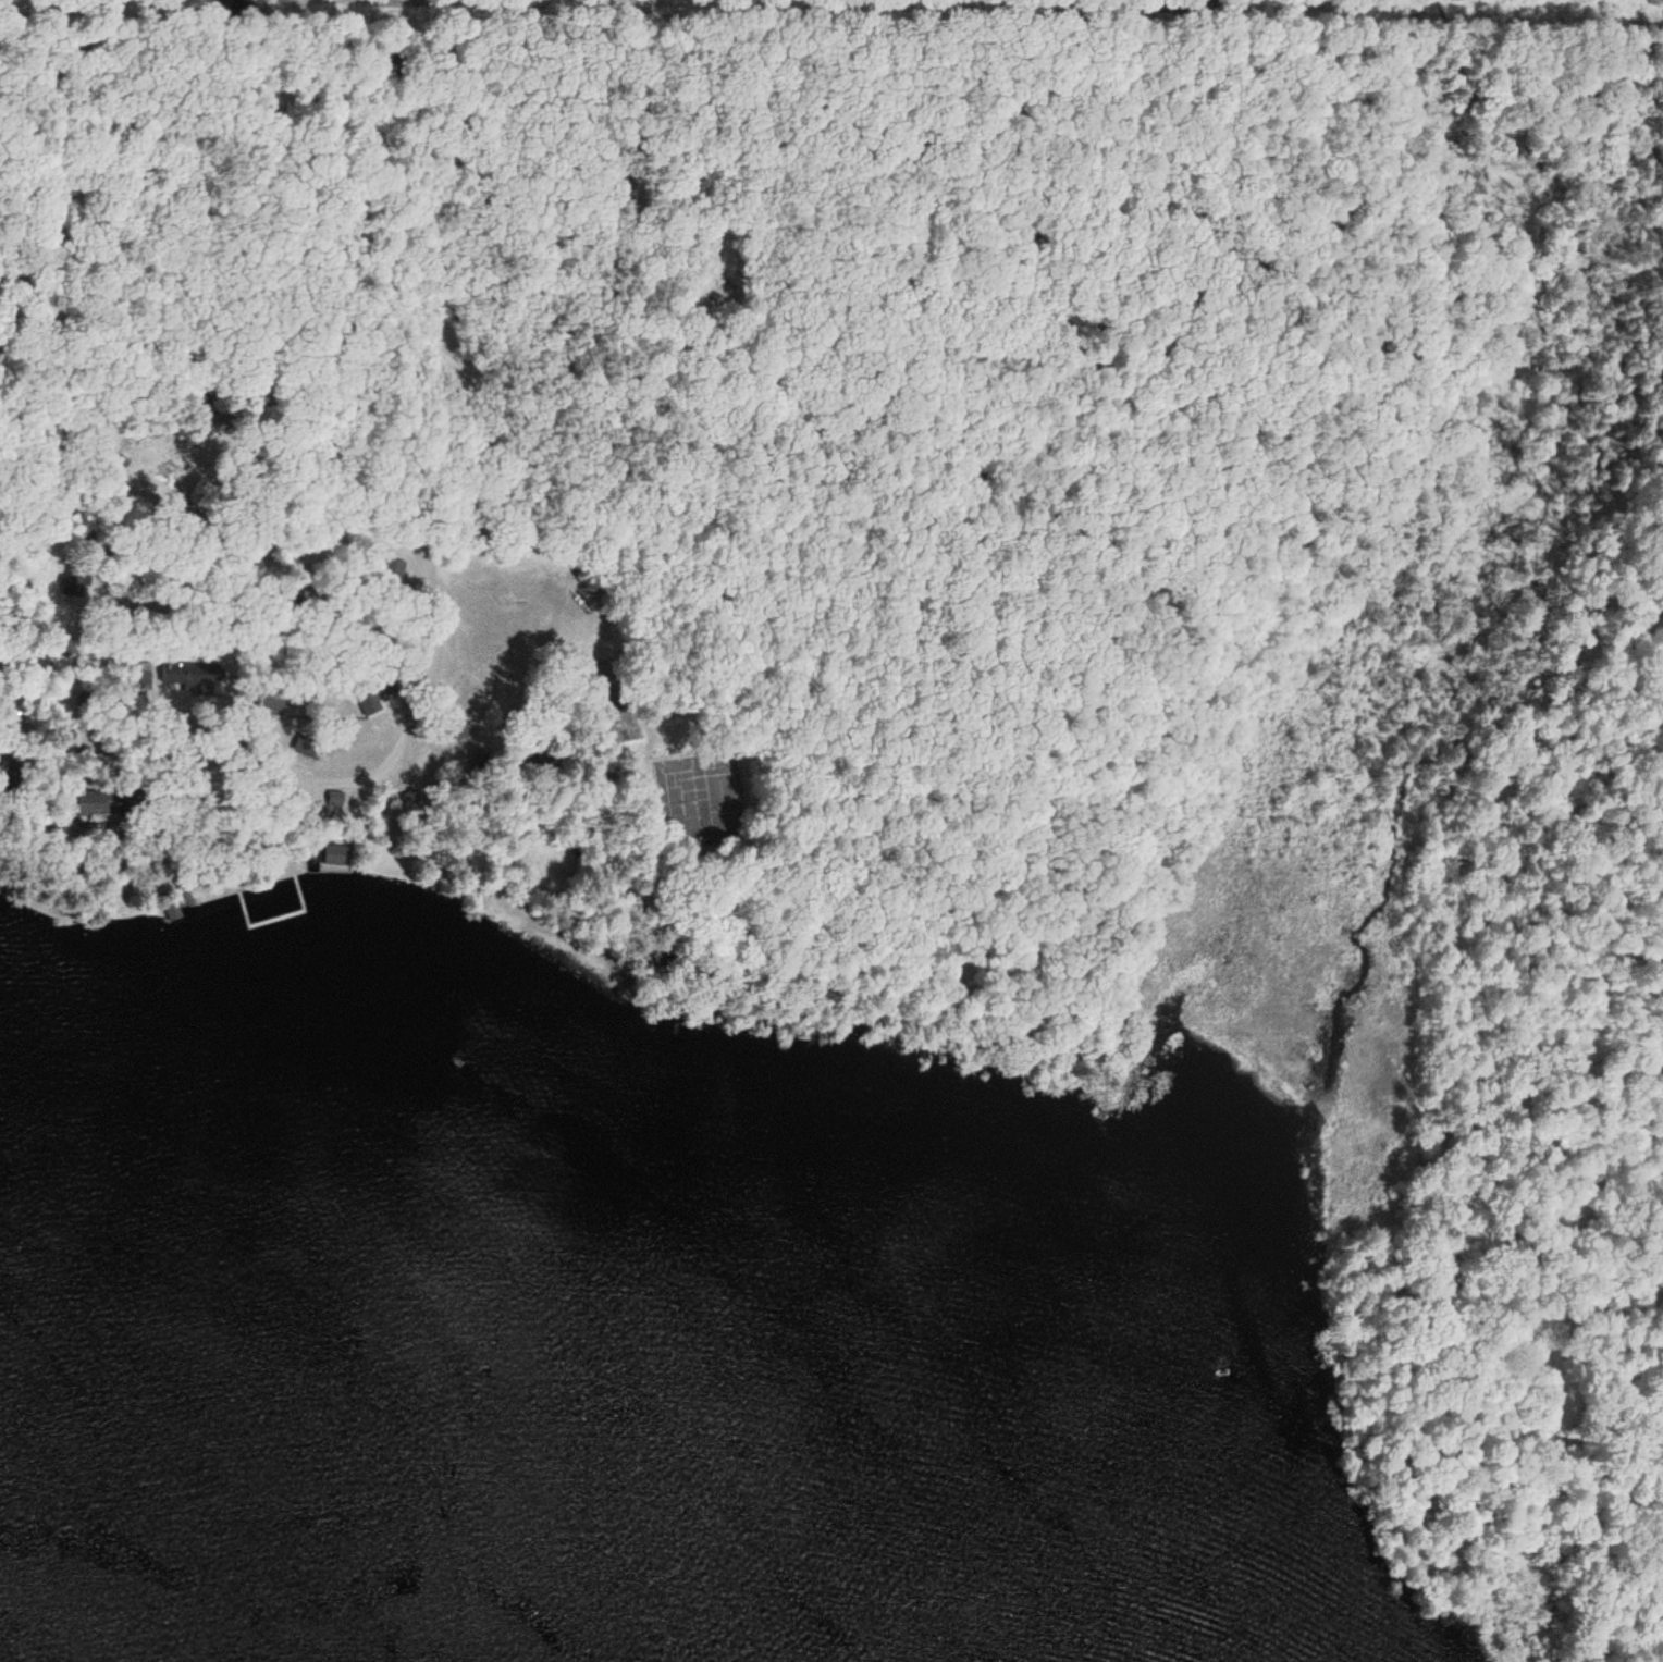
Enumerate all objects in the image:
road: (607, 256)
road: (3, 286)
road: (130, 629)
building: (186, 677)
building: (99, 804)
building: (334, 854)
road: (1481, 1418)

